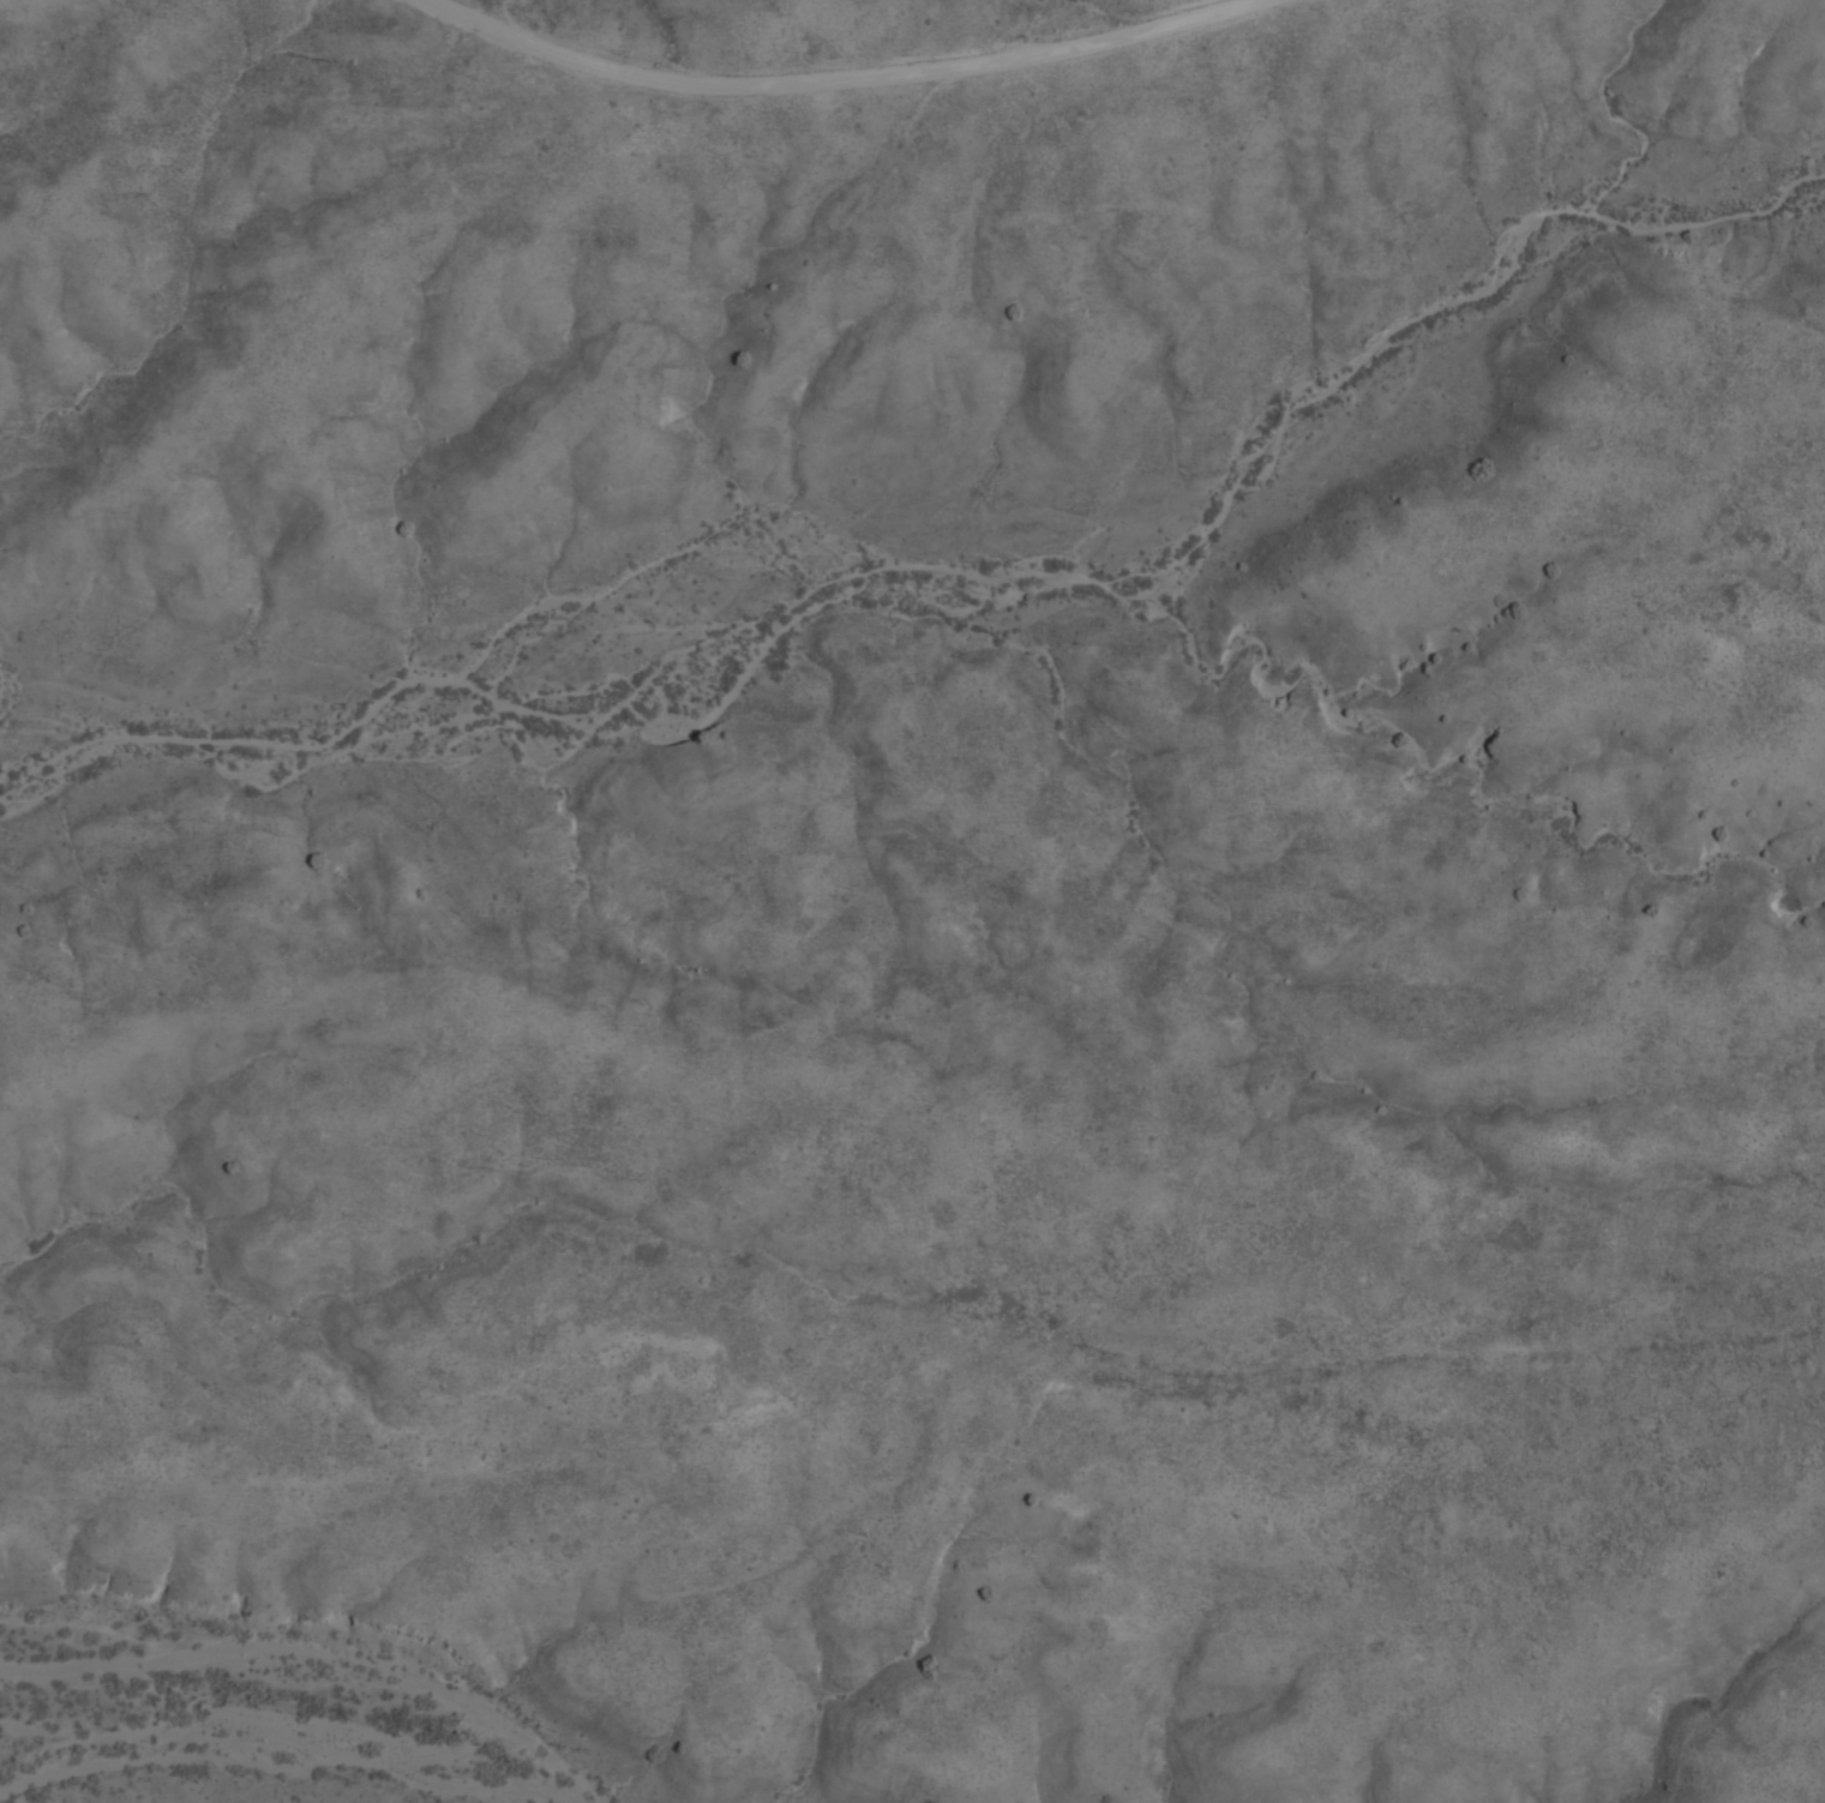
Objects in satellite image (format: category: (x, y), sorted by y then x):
road: (851, 84)

